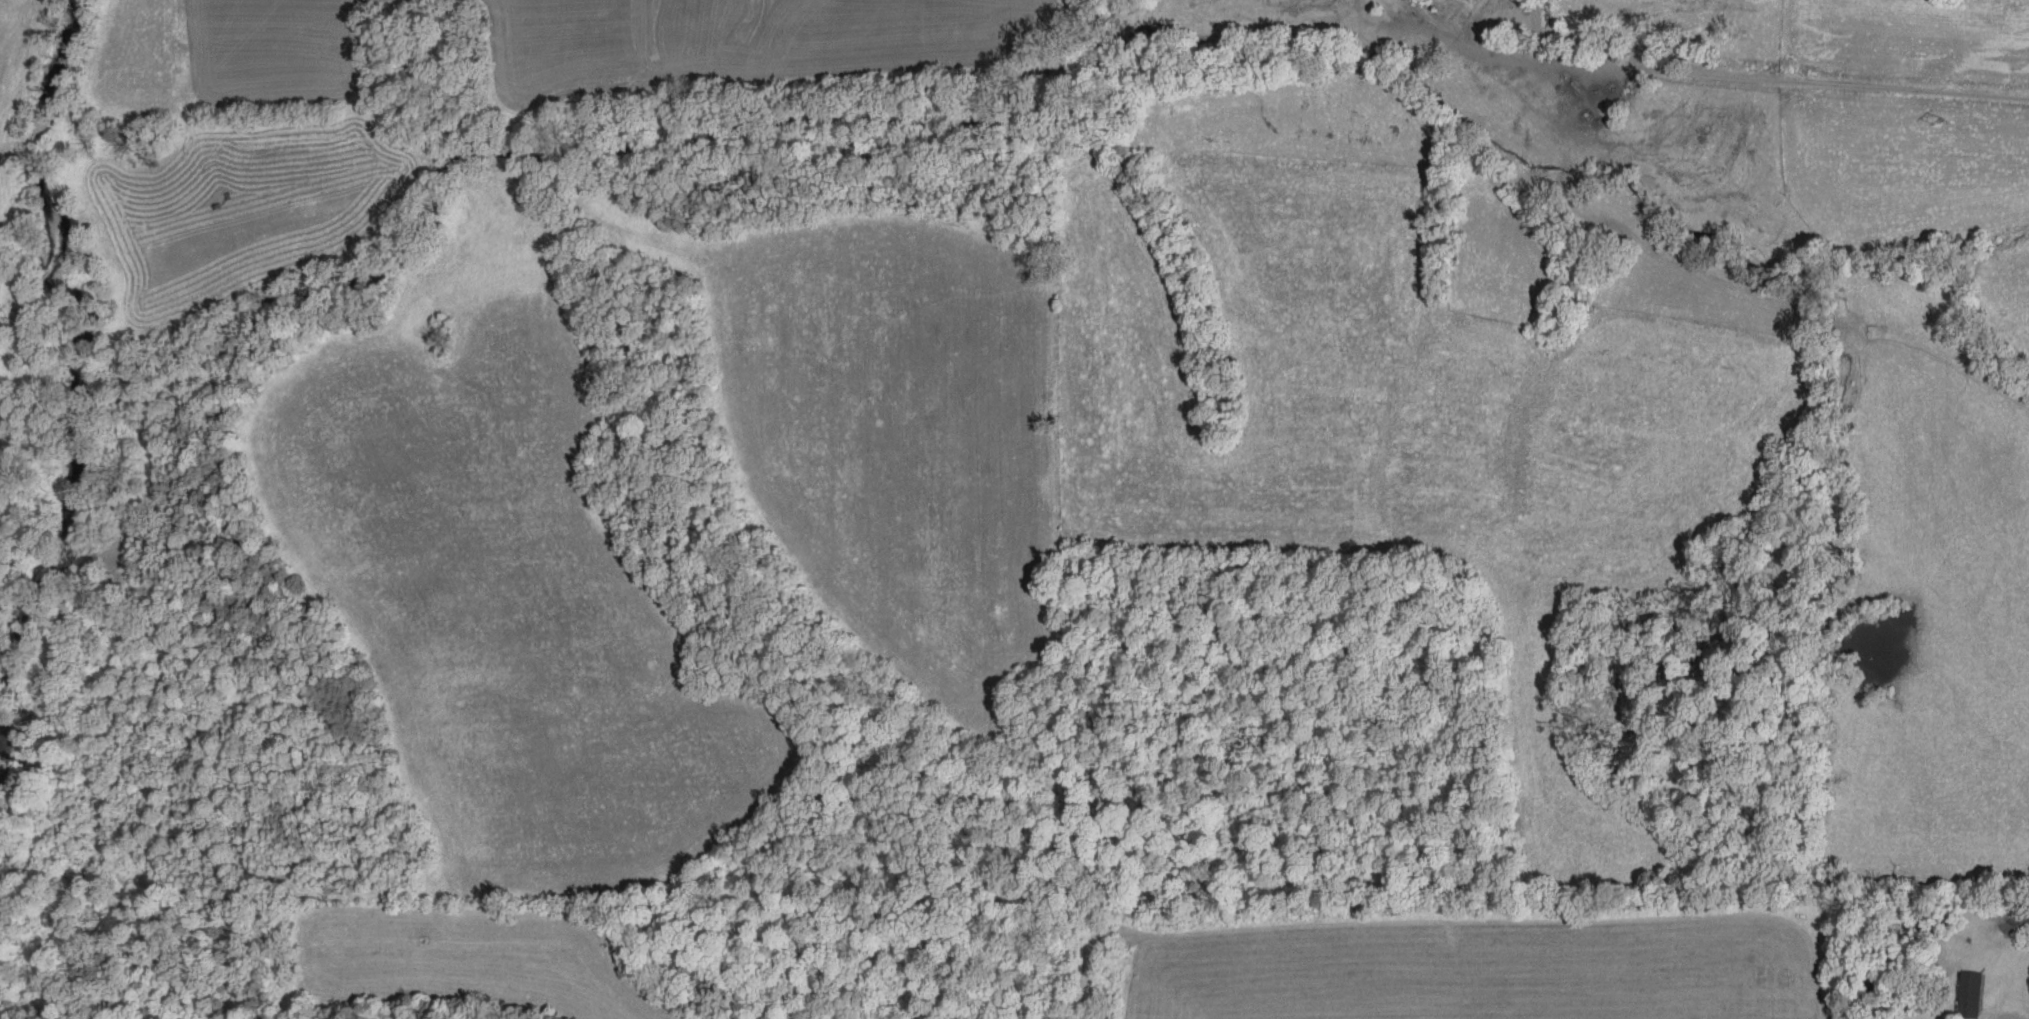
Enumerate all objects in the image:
road: (1759, 78)
power tower: (1934, 119)
building: (1968, 993)

